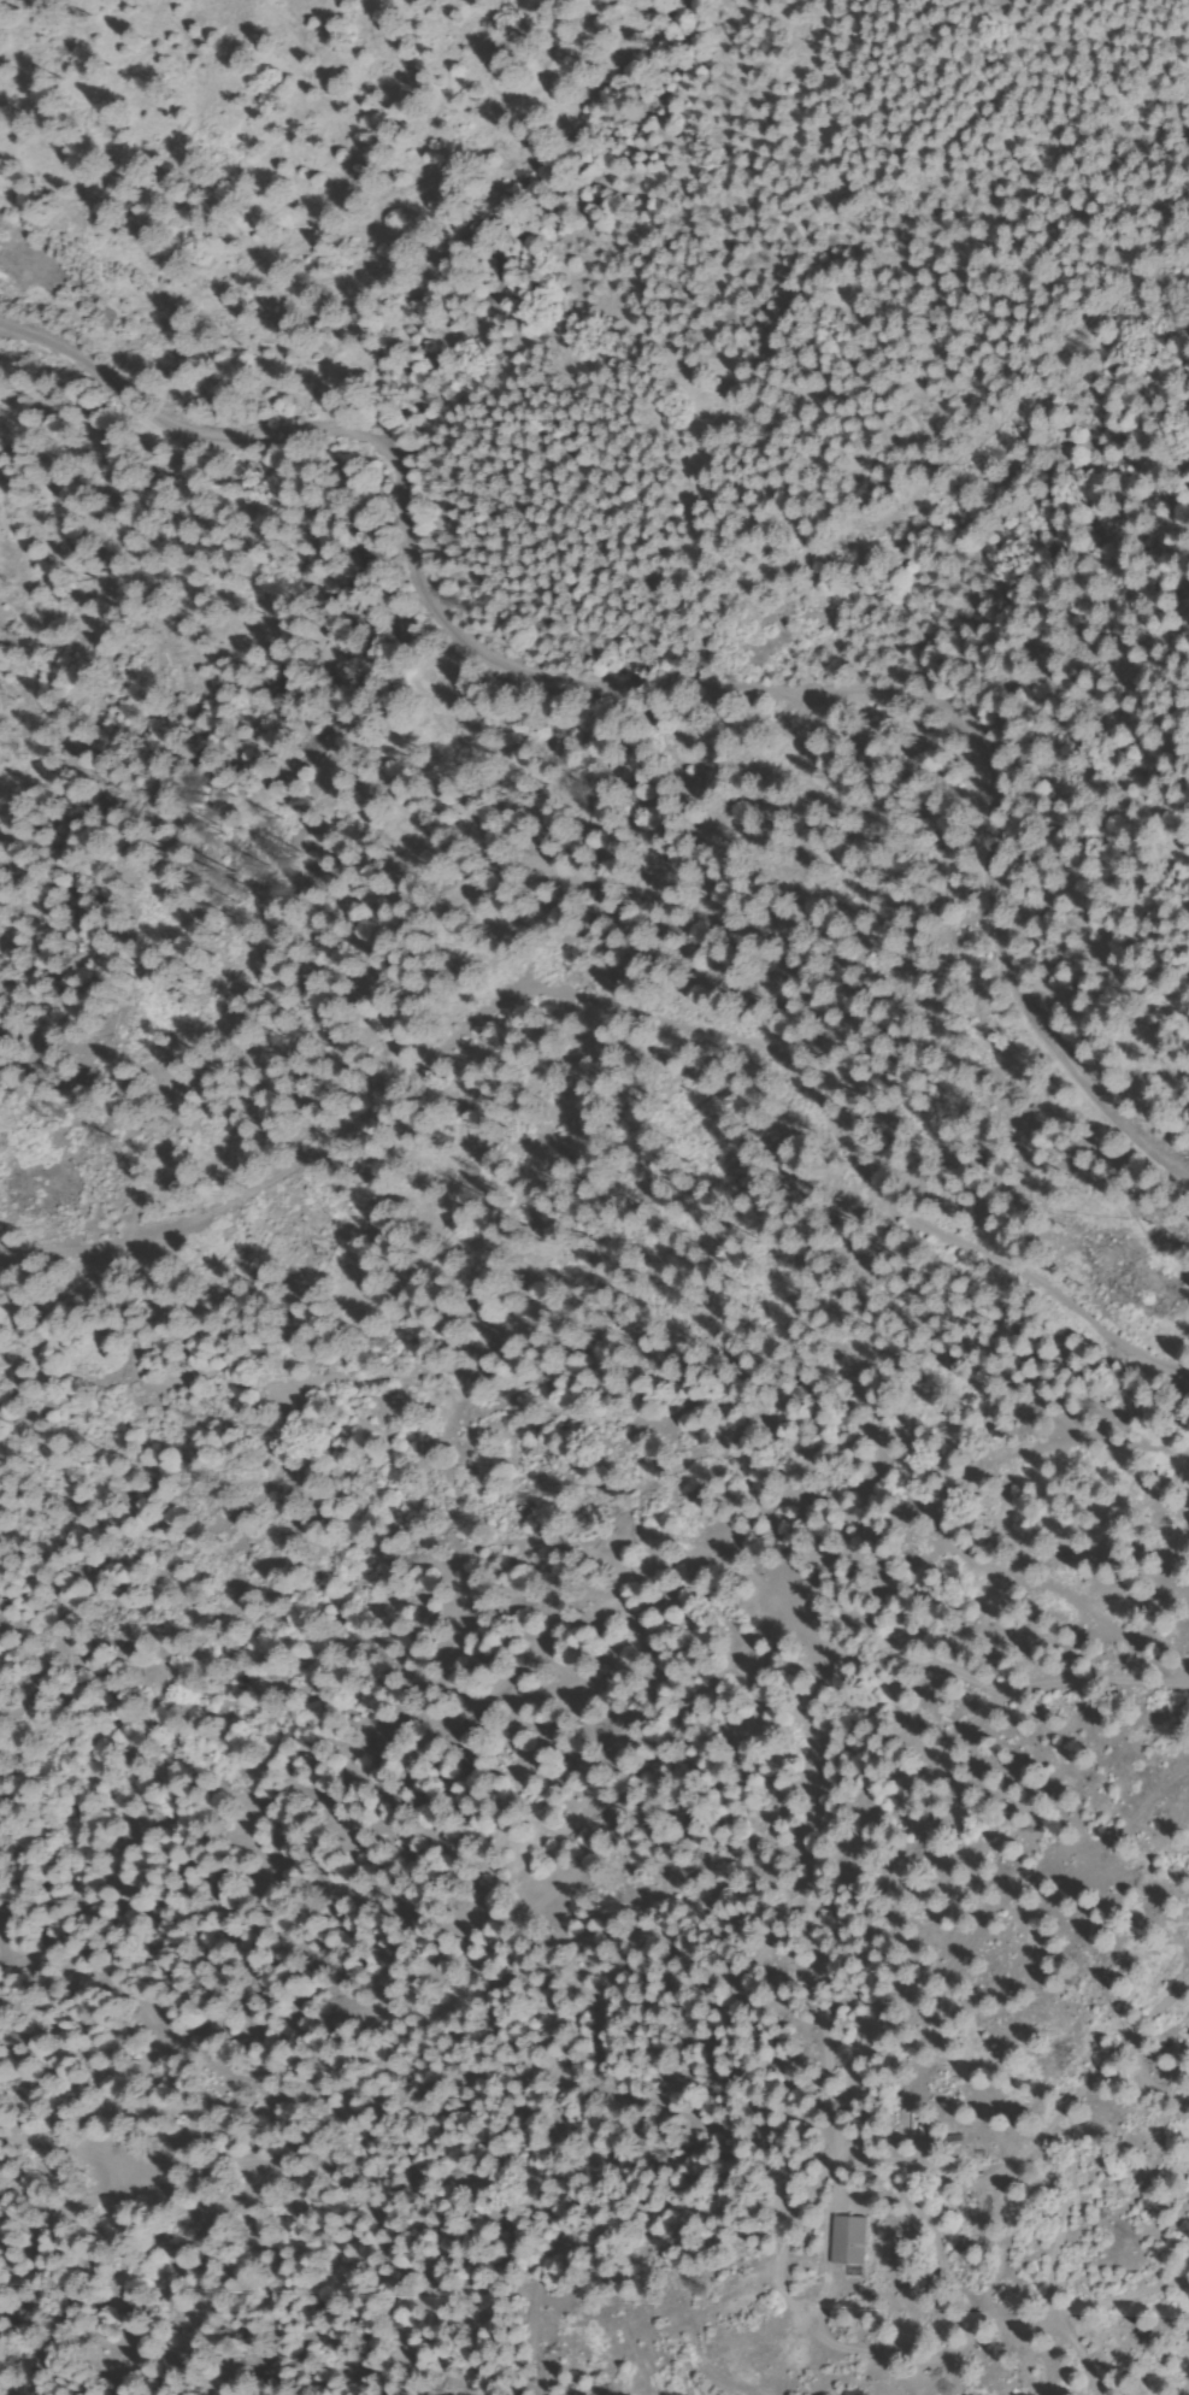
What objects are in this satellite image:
road: (642, 625)
building: (846, 2241)

